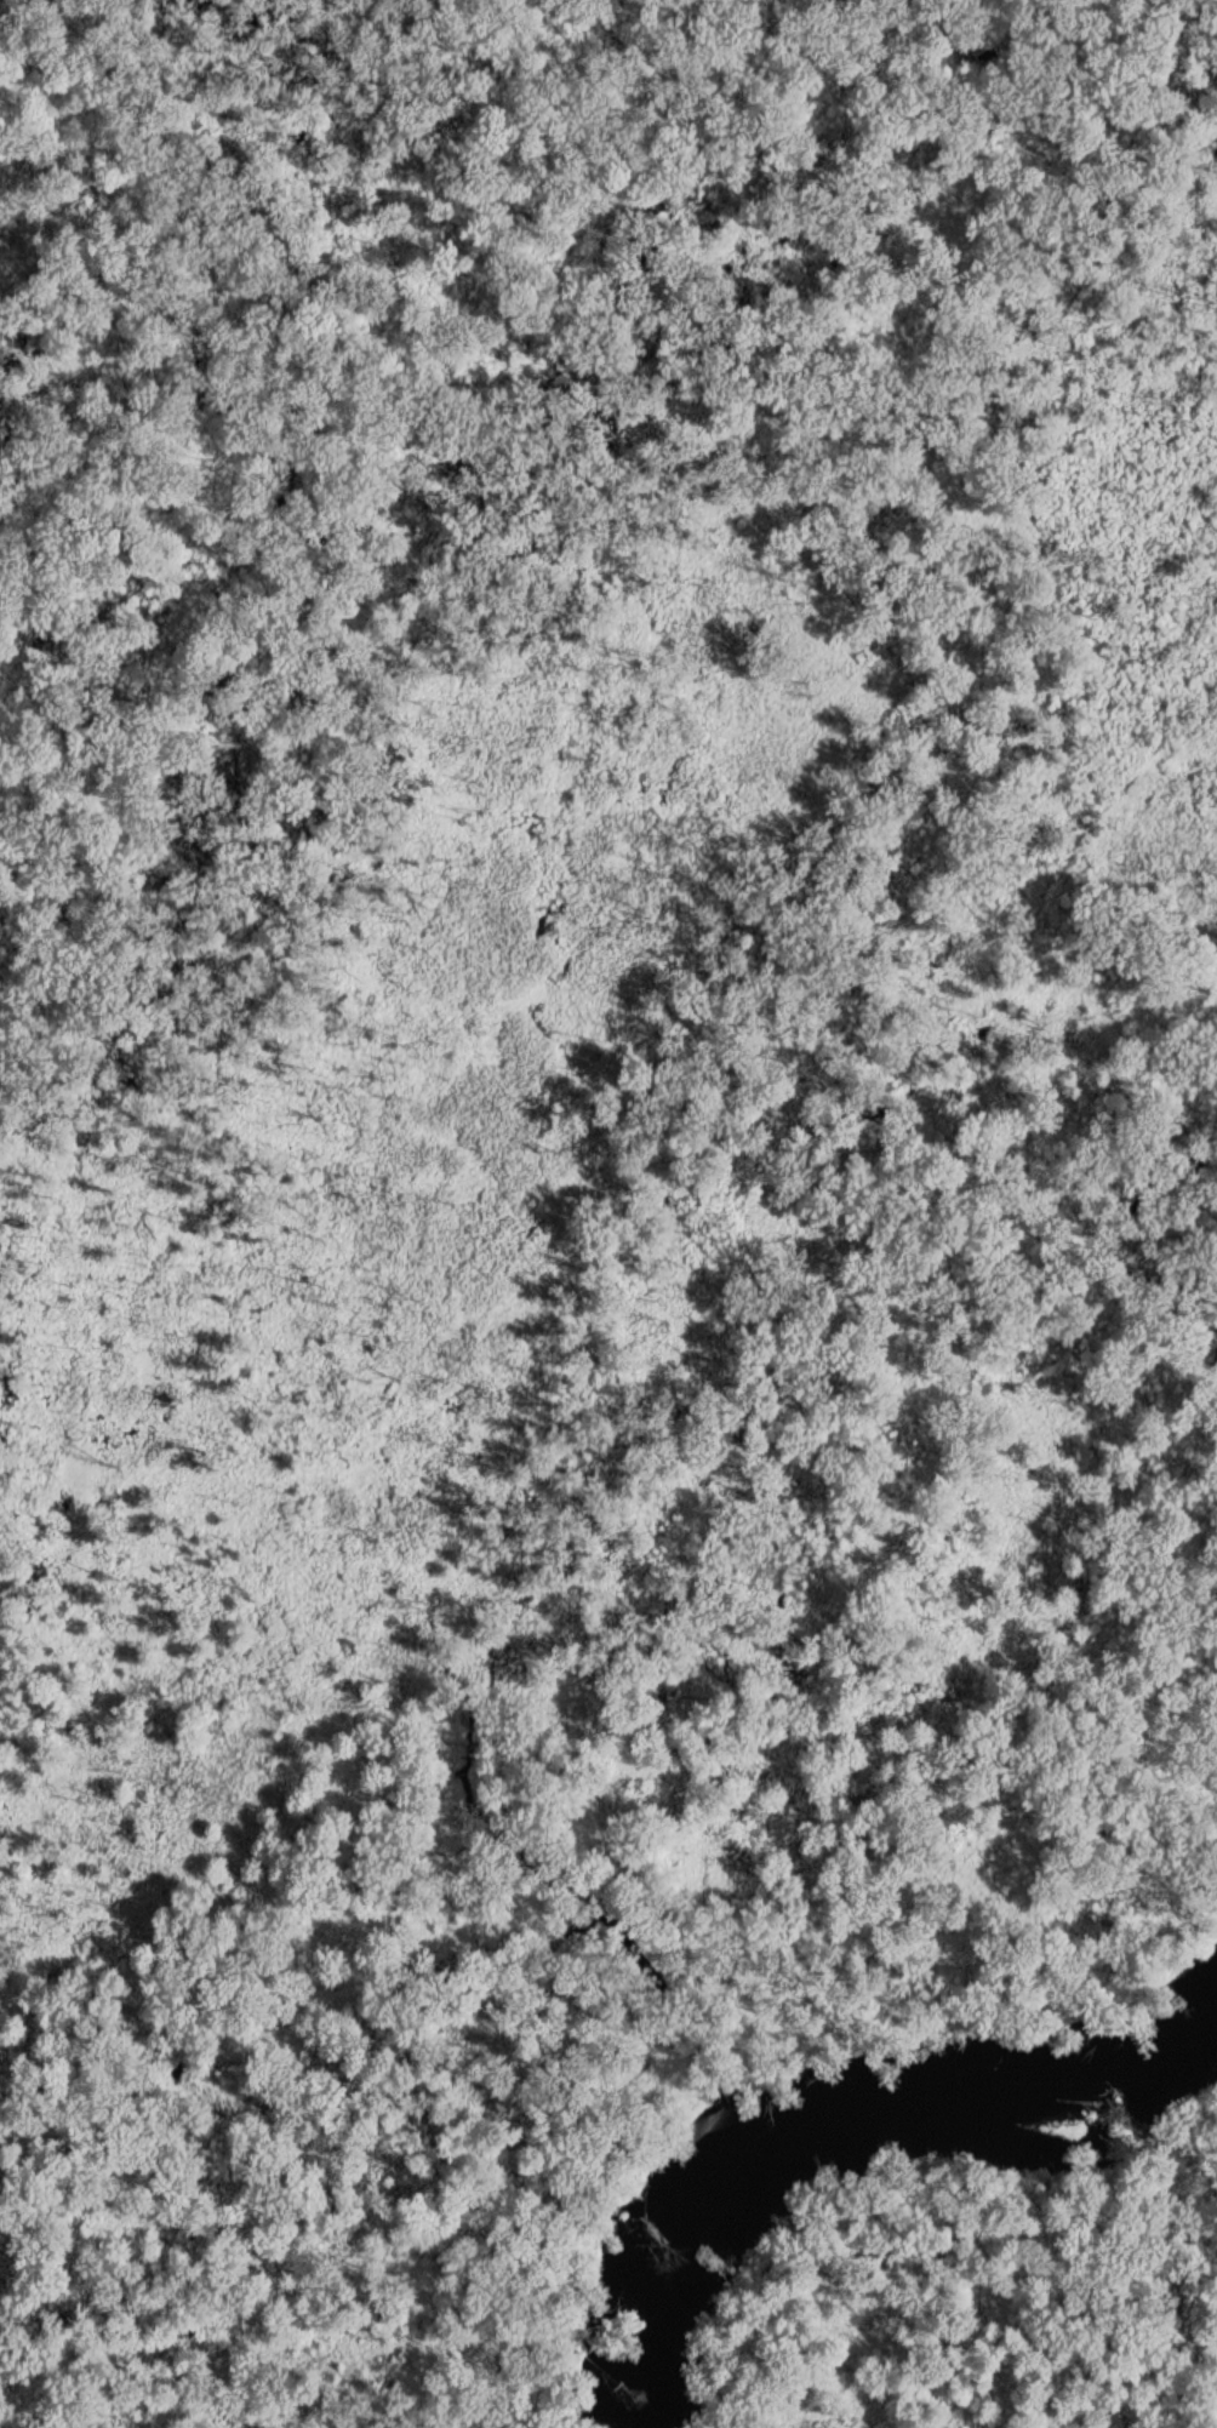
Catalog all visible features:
river: (855, 2140)

